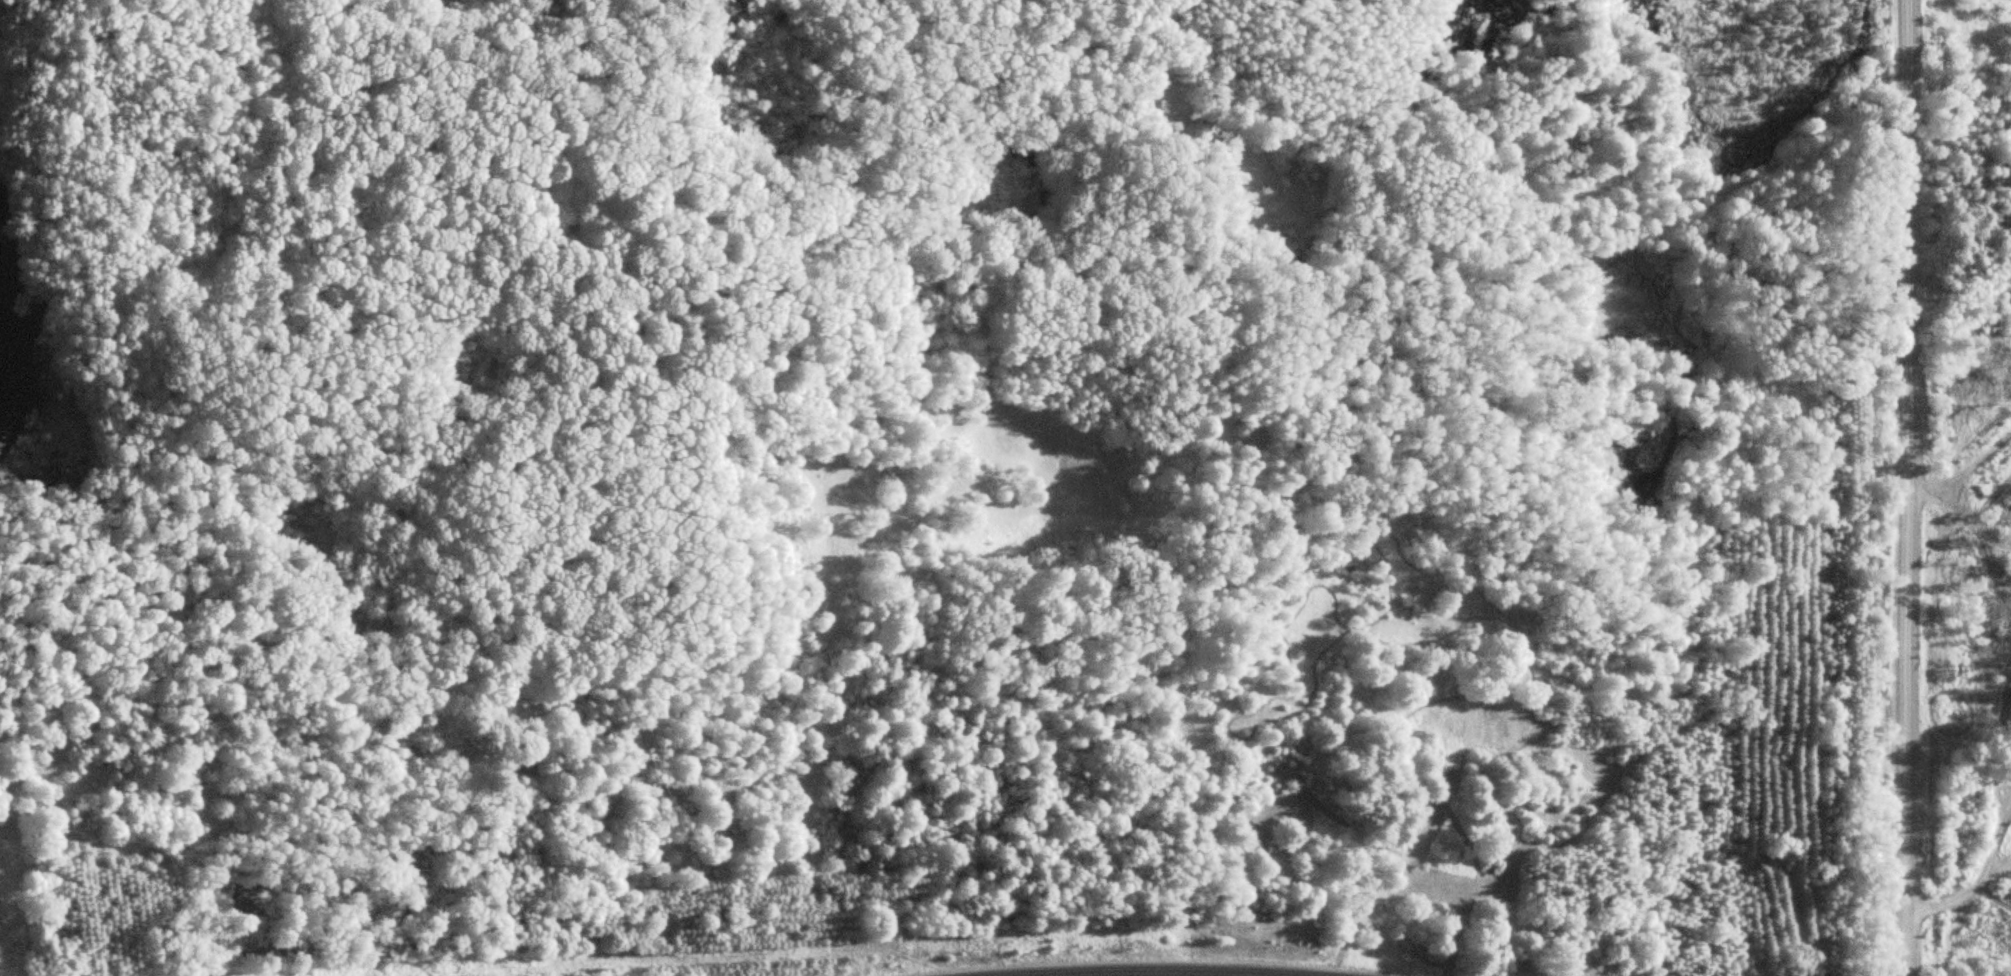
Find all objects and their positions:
road: (1906, 487)
road: (1170, 970)

